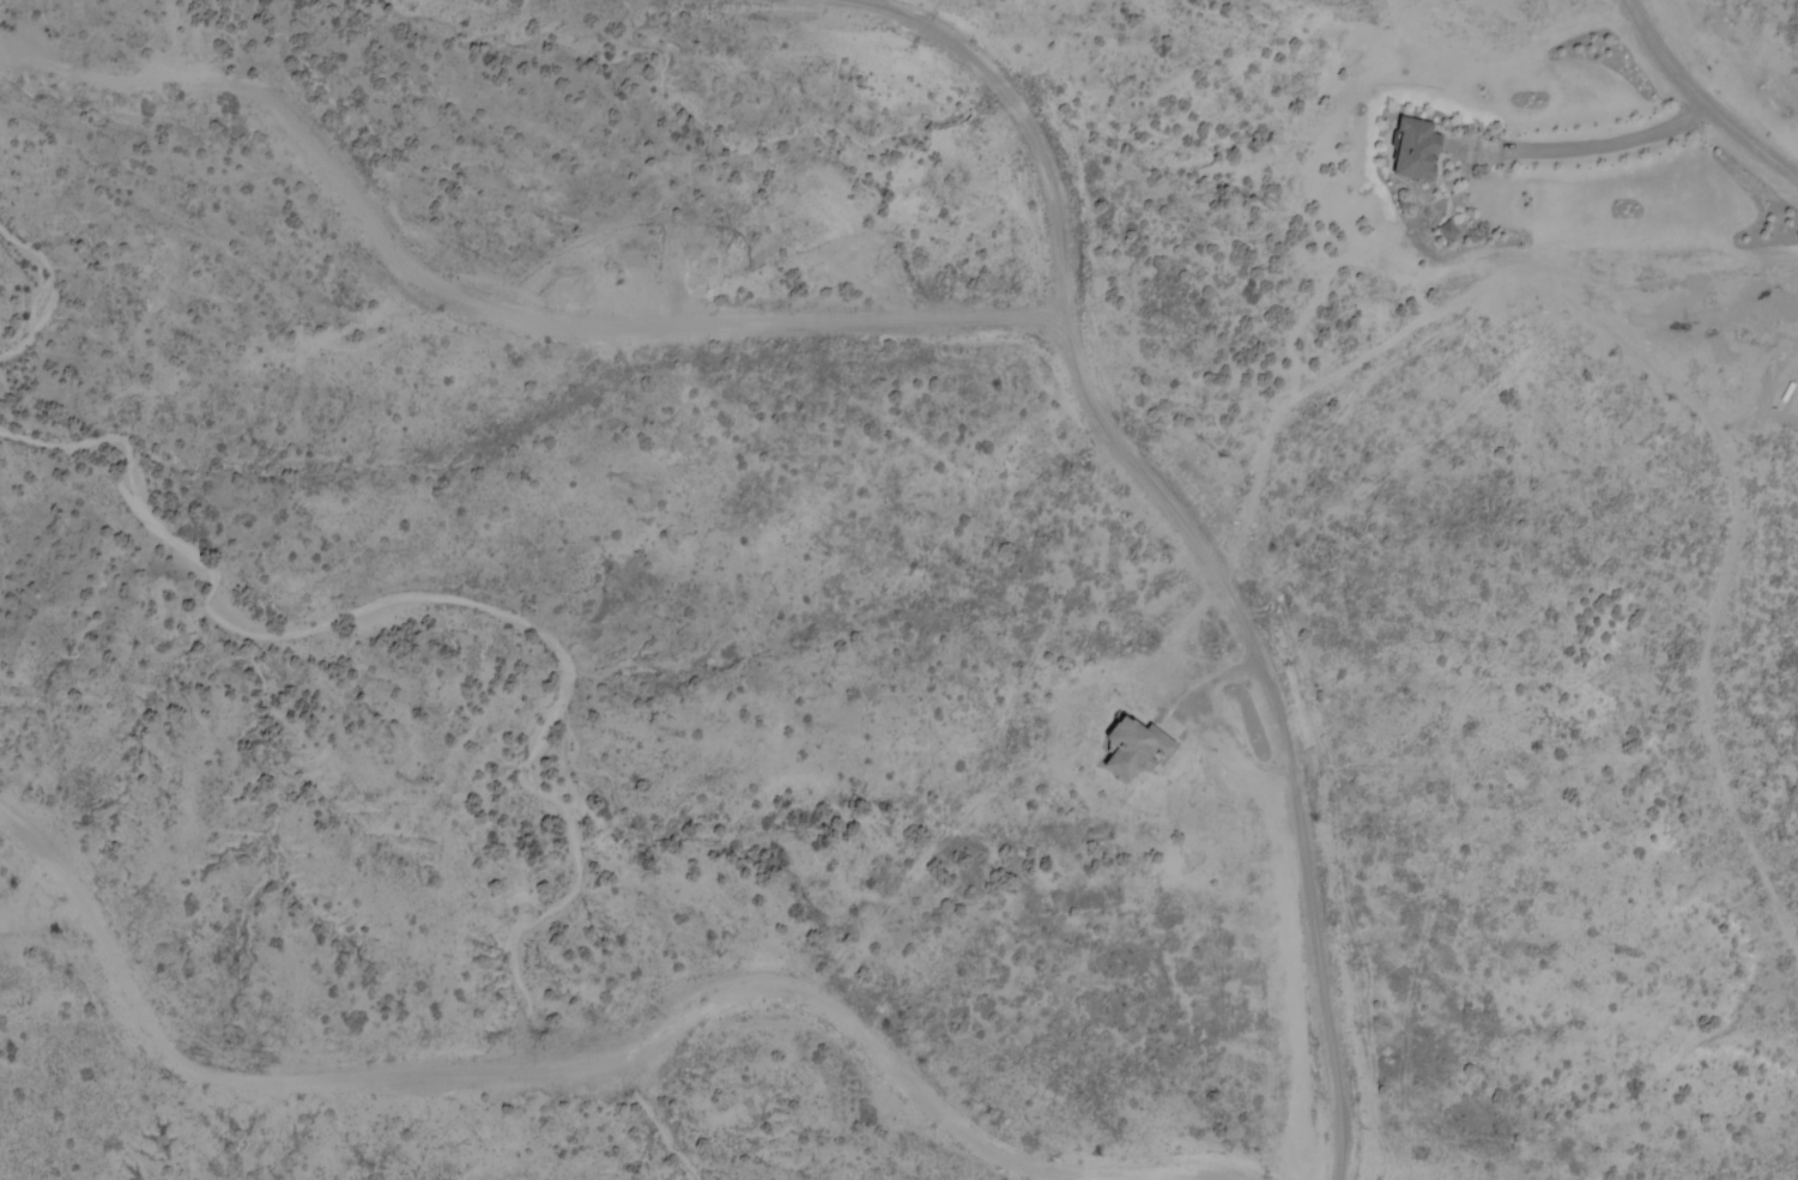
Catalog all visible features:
road: (1700, 102)
road: (1603, 145)
building: (1412, 152)
road: (593, 328)
road: (1191, 537)
building: (1130, 749)
road: (538, 1071)

